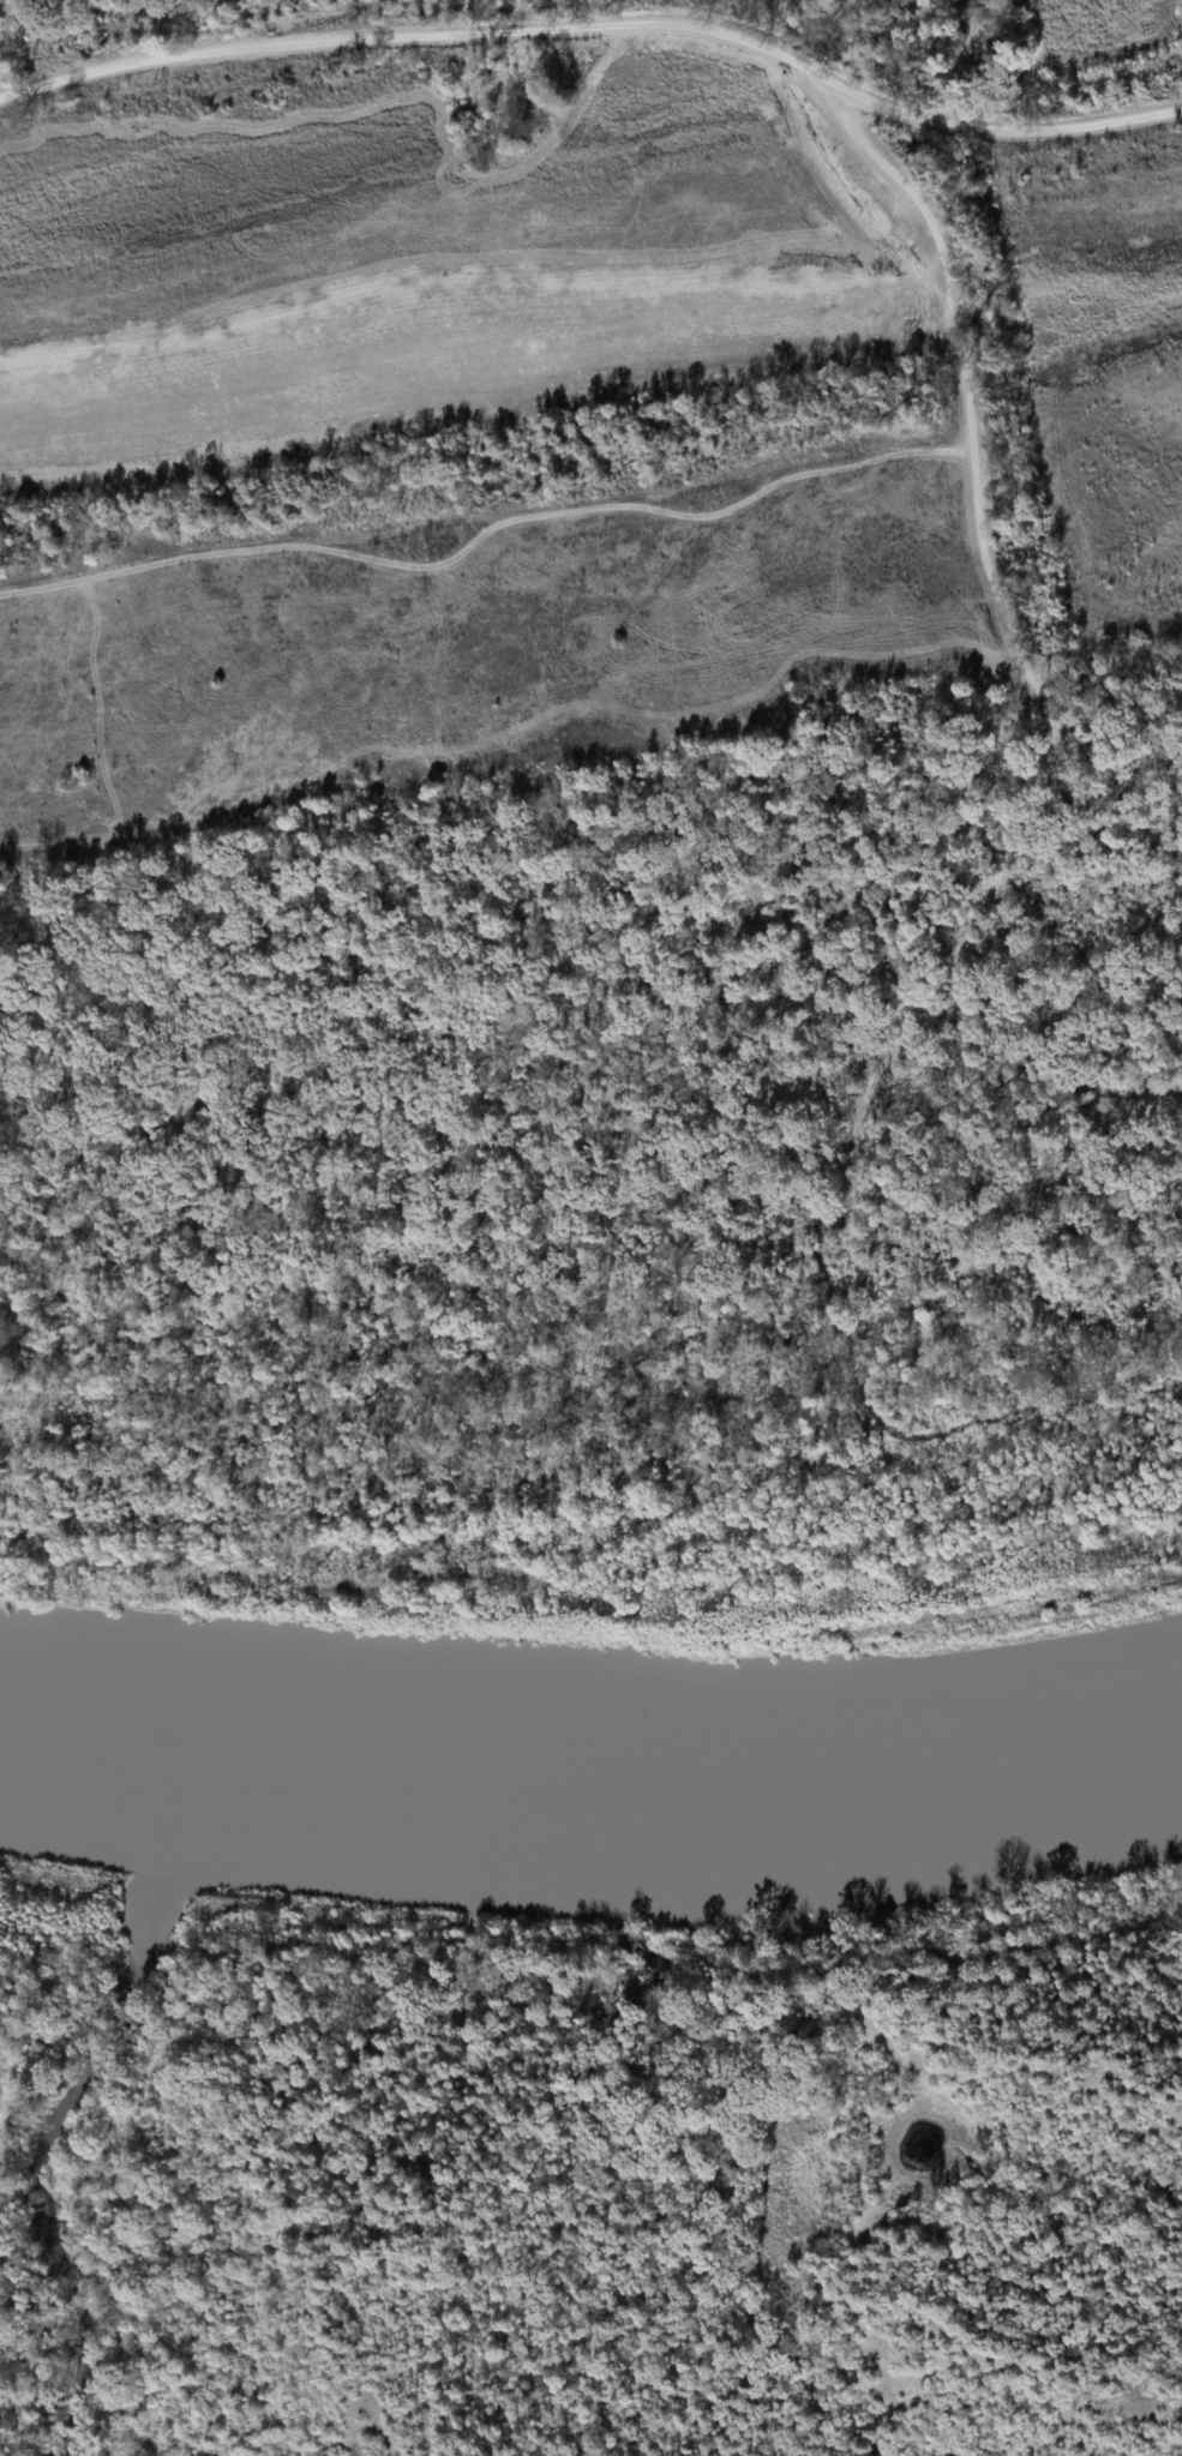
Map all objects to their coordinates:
road: (598, 23)
river: (592, 1715)

